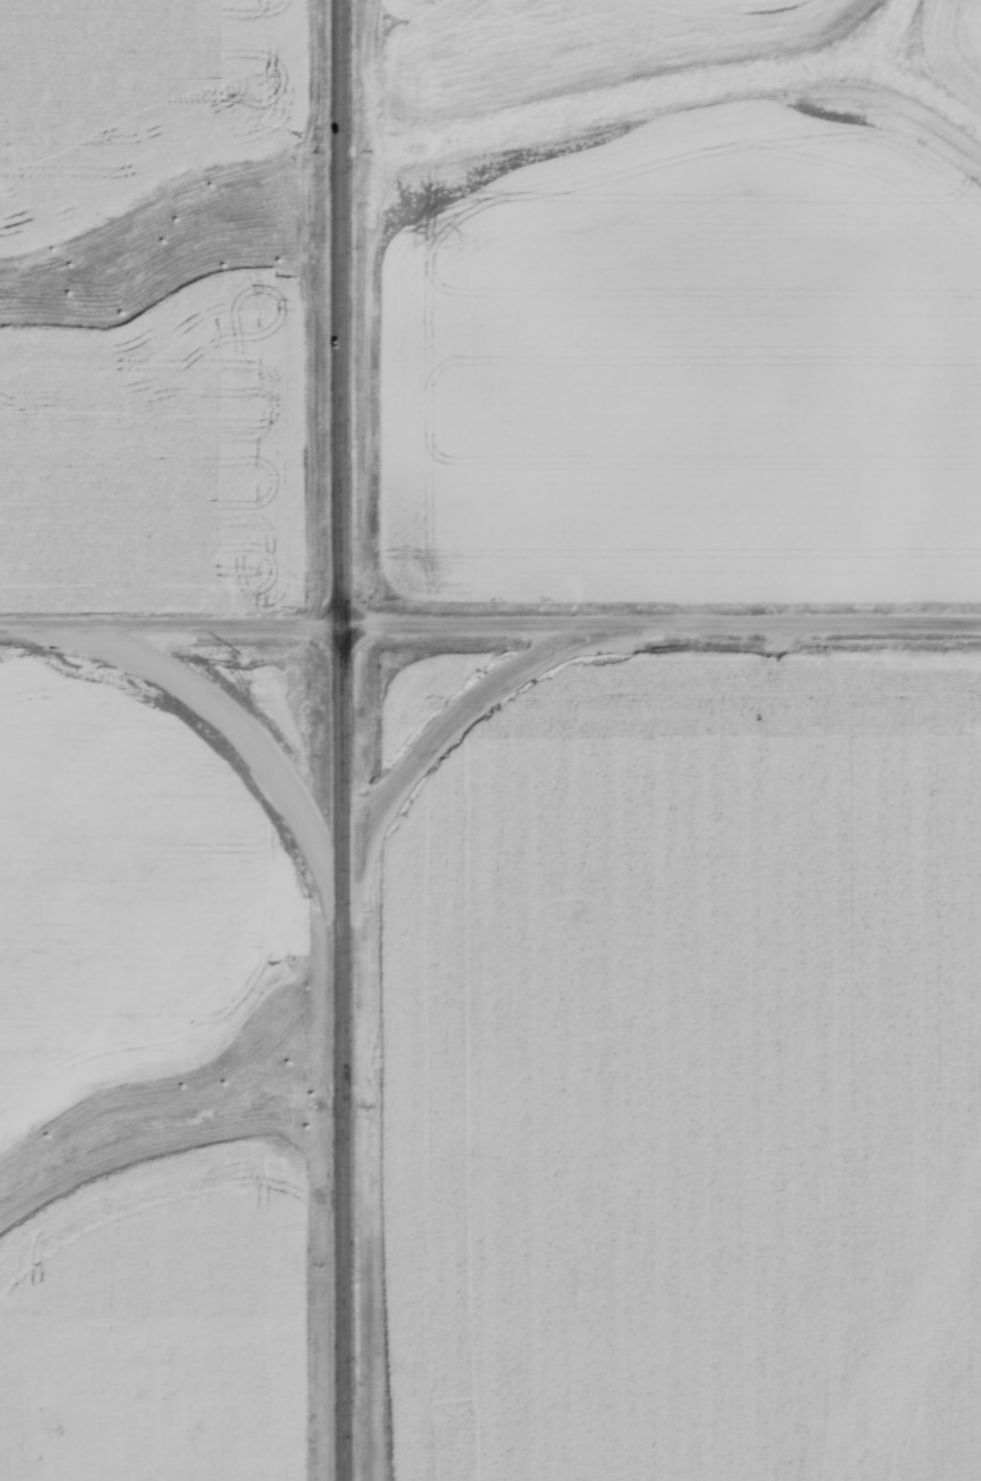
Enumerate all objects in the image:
road: (490, 619)
road: (383, 740)

